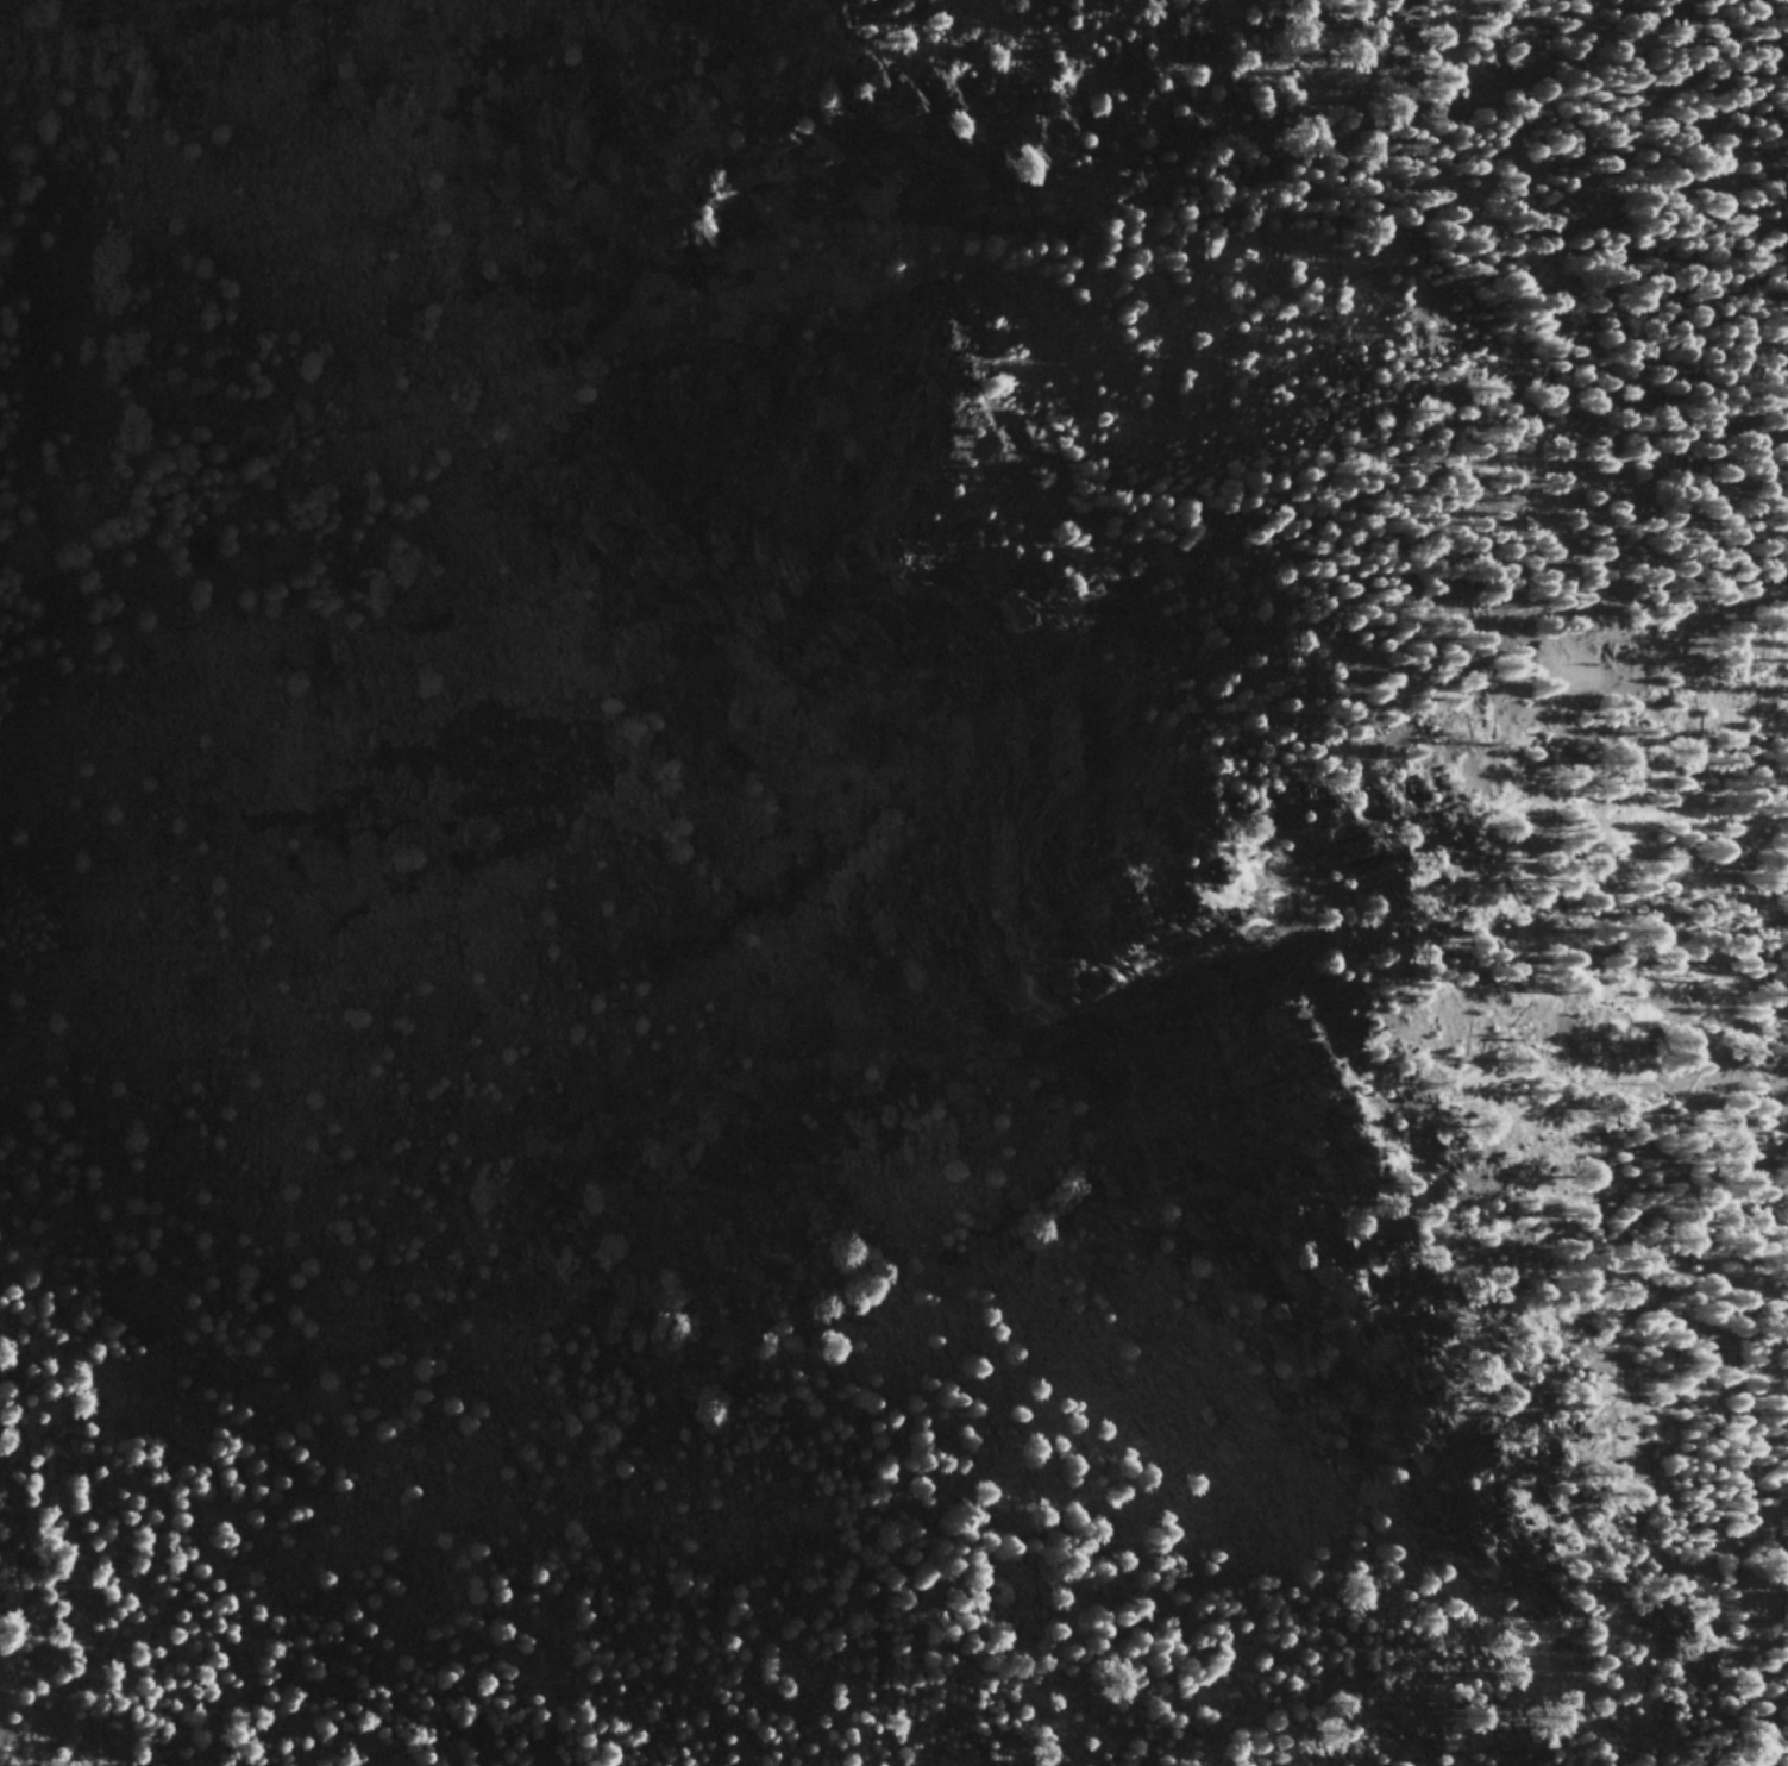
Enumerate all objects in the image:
road: (1293, 1427)
road: (1385, 1649)

